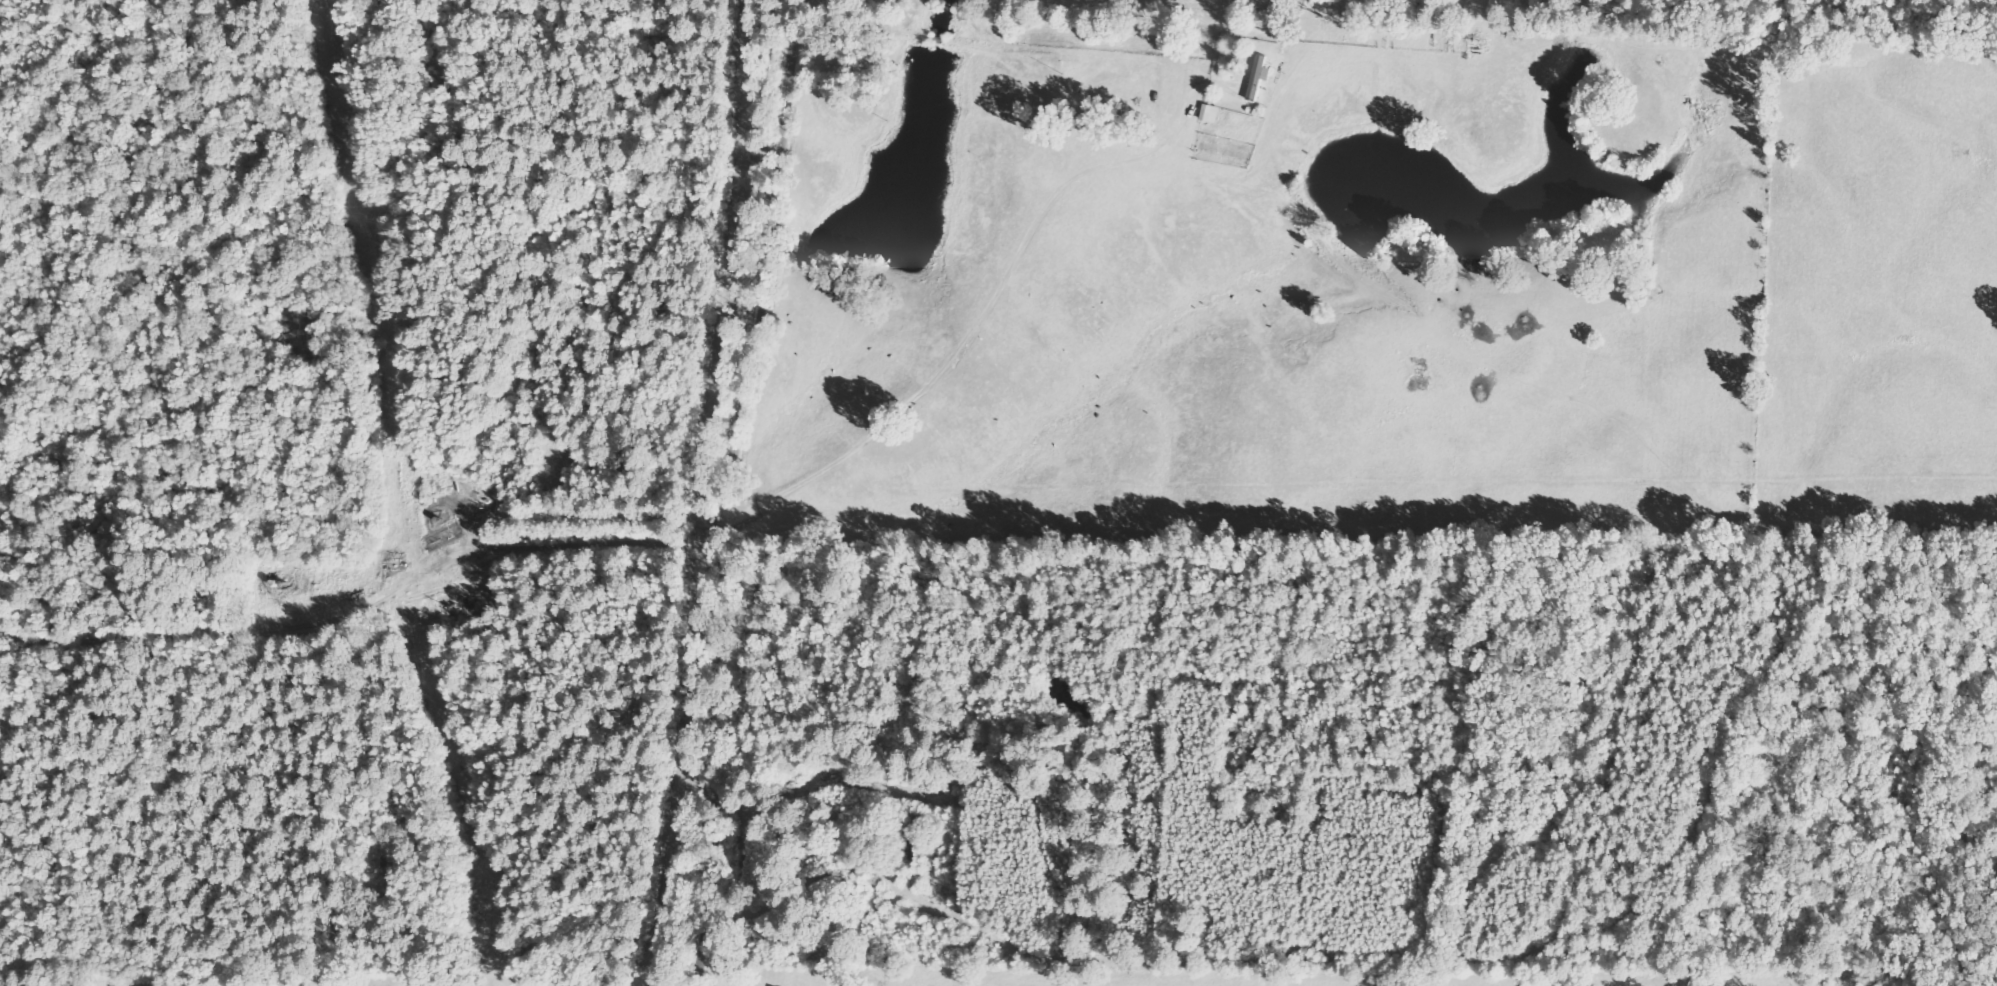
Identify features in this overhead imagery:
building: (1260, 77)
building: (1212, 113)
road: (717, 492)
road: (357, 604)

